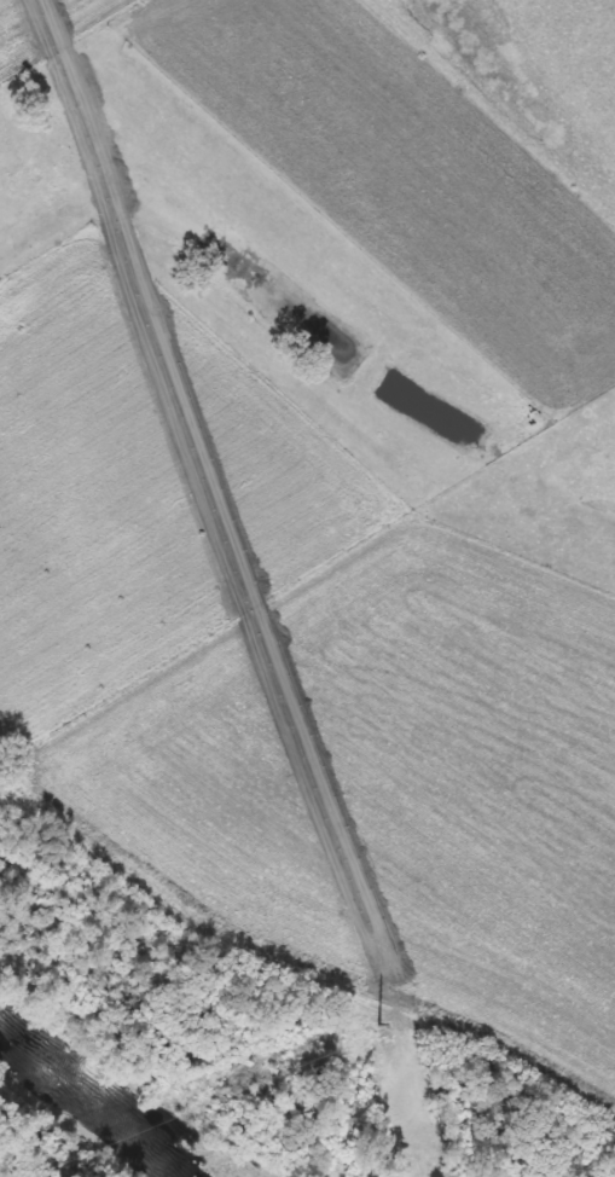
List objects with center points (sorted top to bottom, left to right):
power tower: (378, 1025)
river: (88, 1106)

